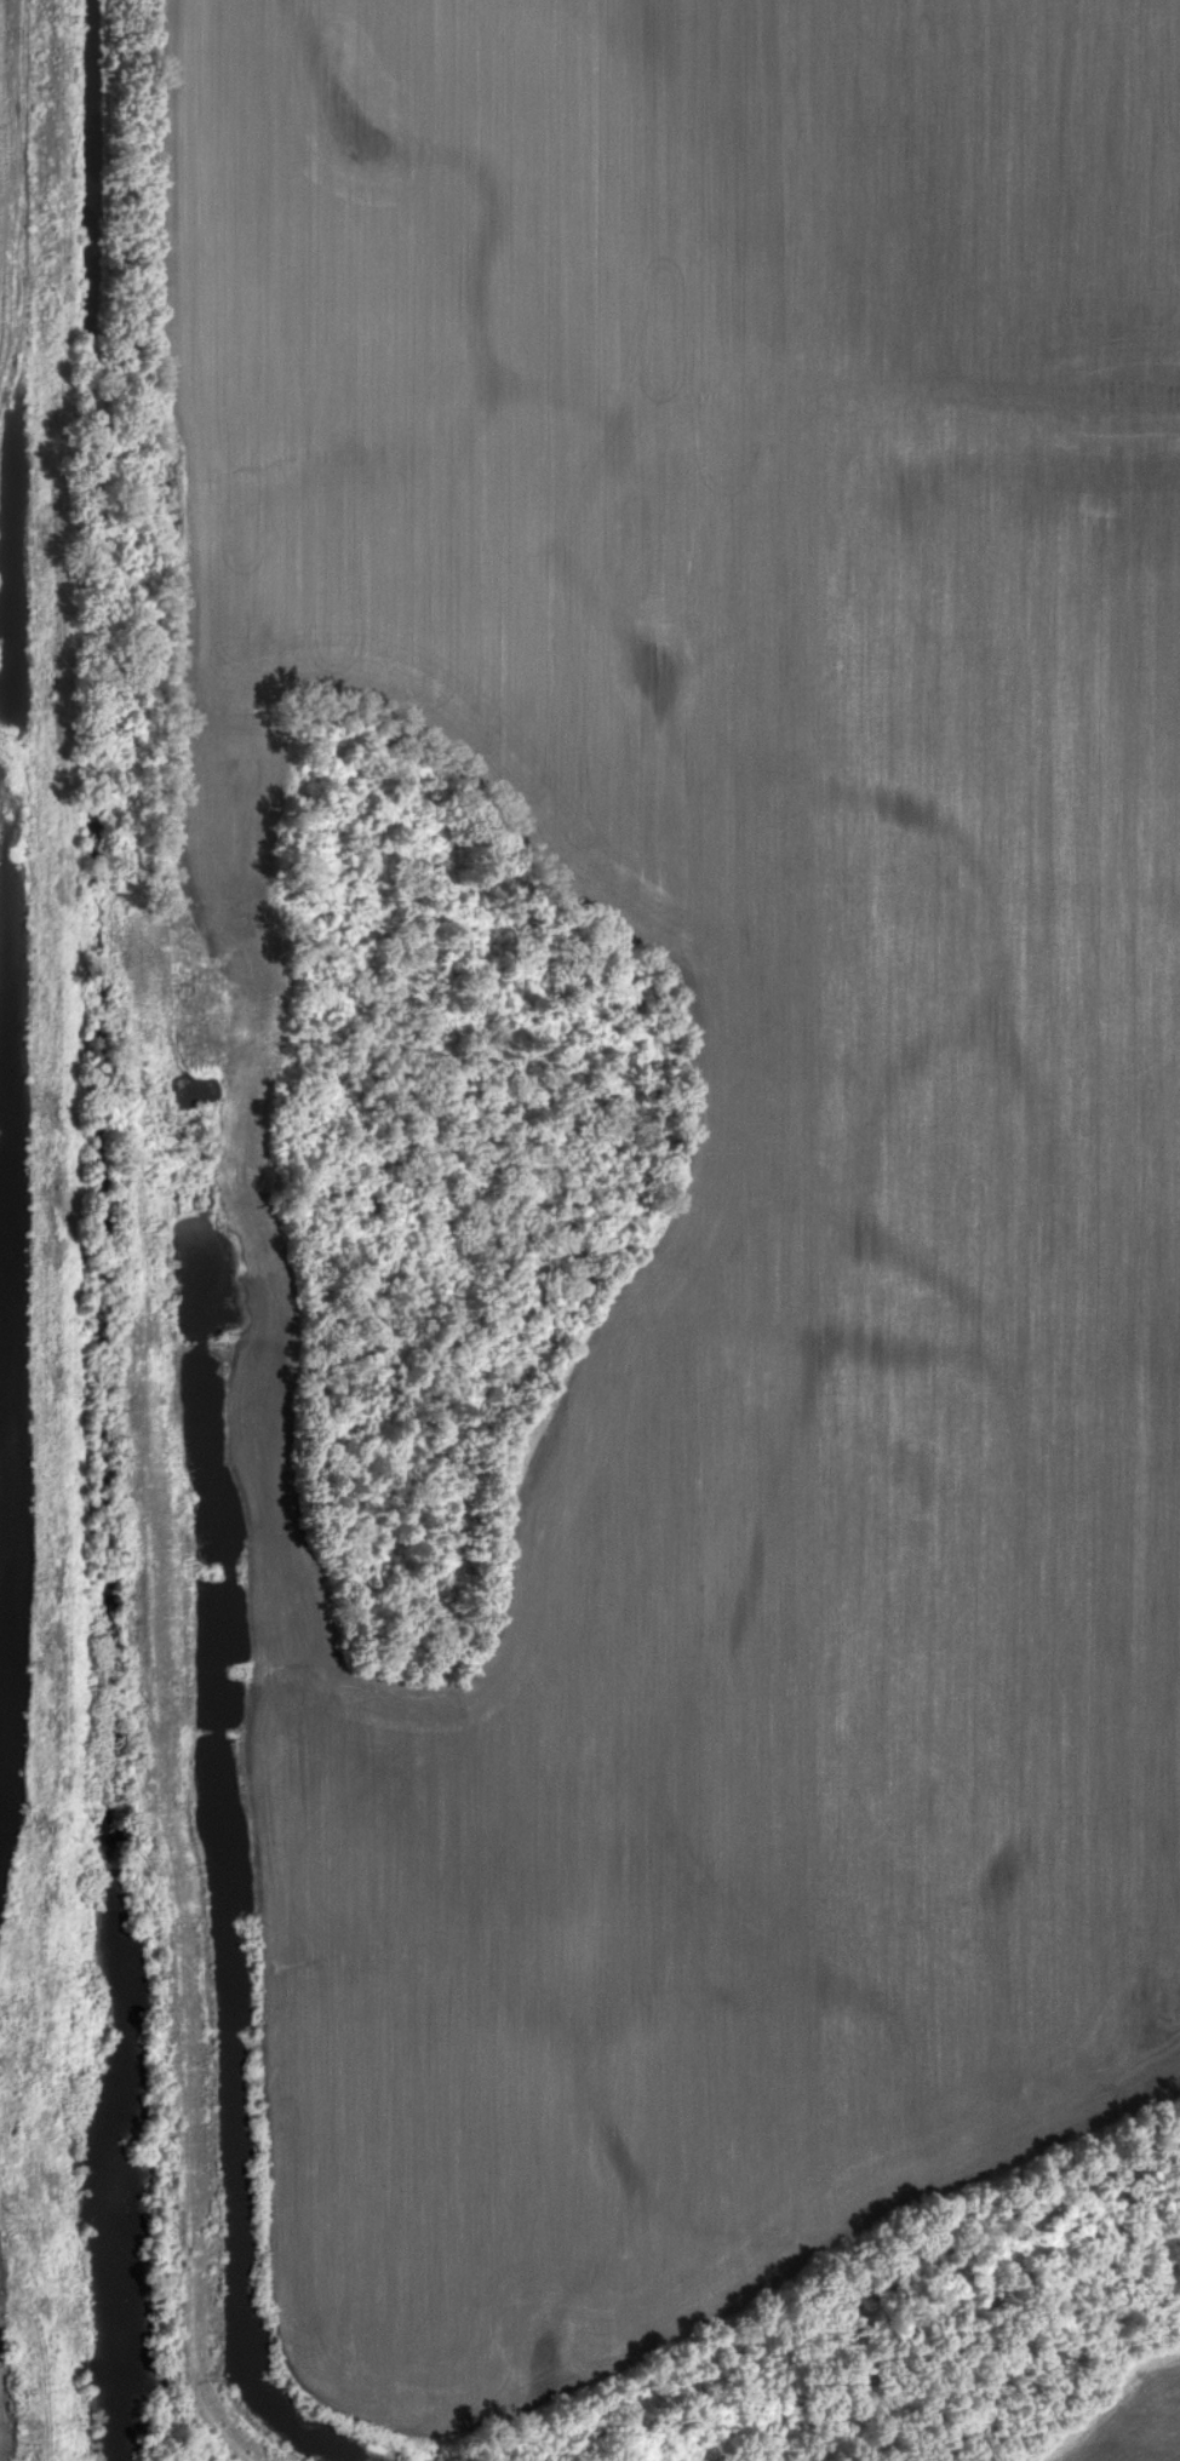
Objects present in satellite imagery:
crop: (7, 164)
crop: (733, 1134)

